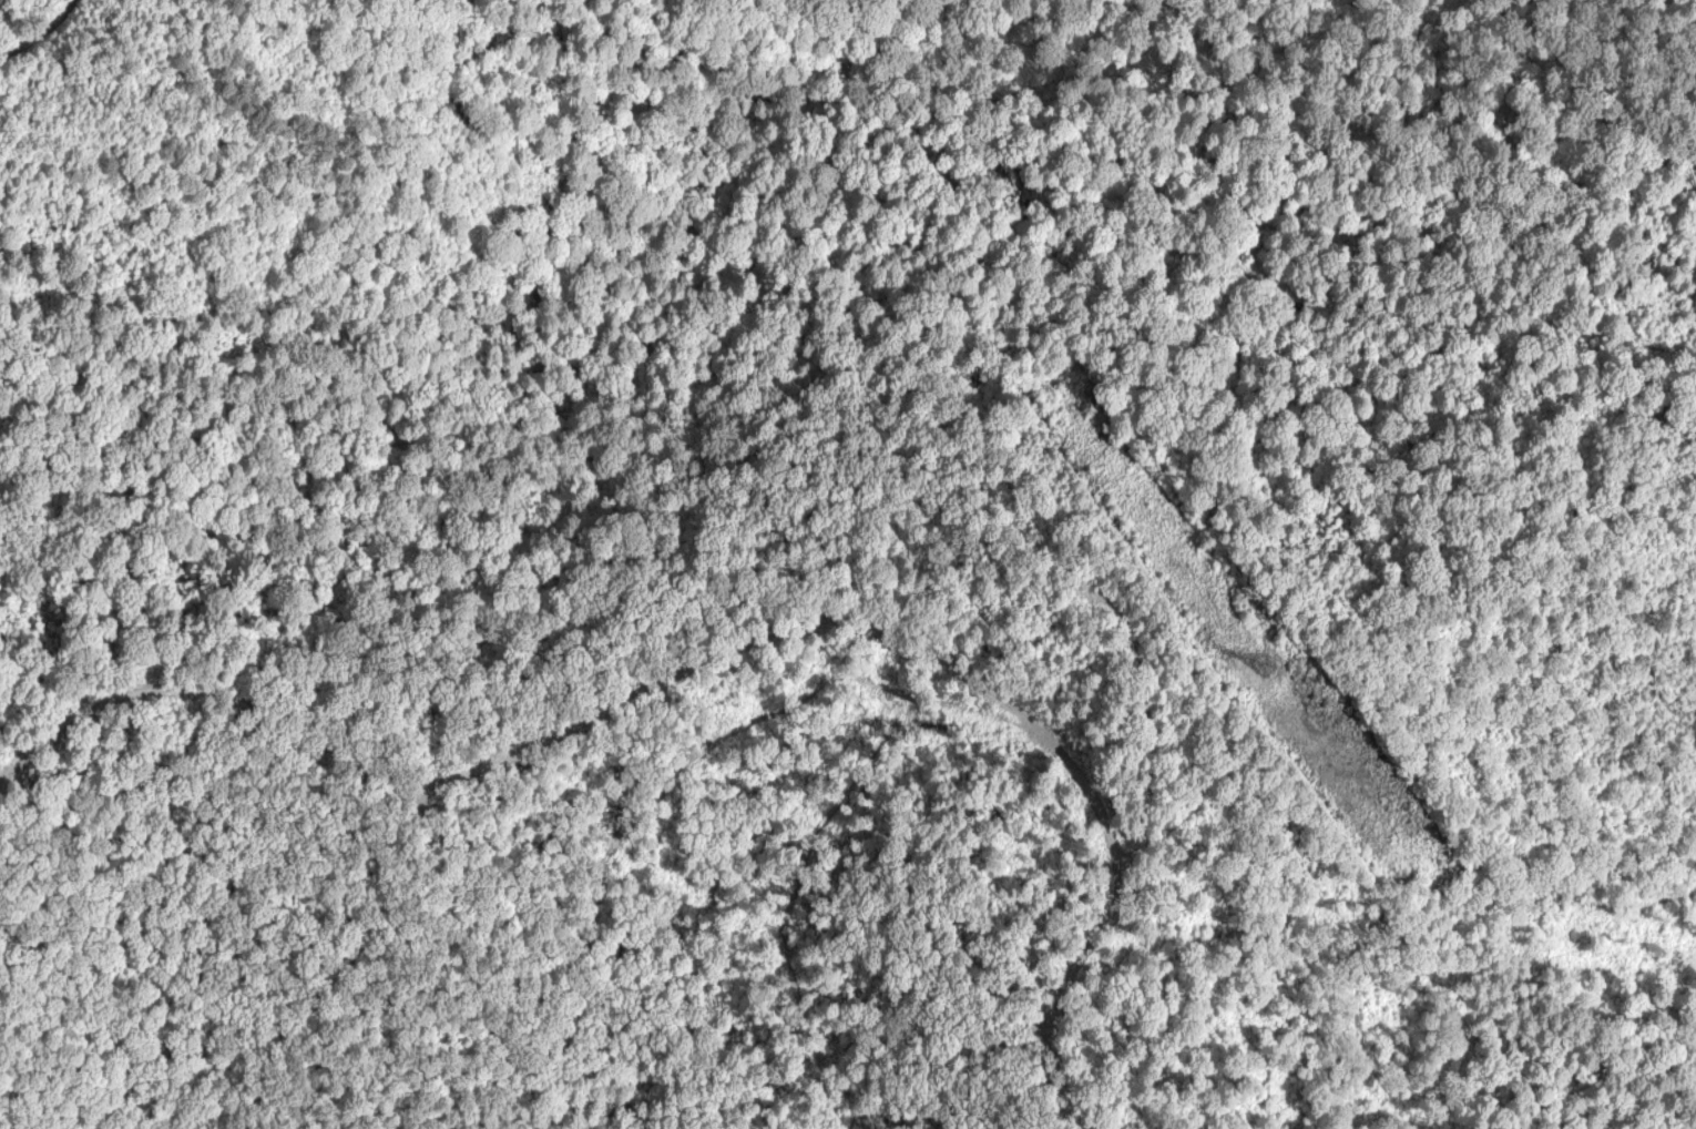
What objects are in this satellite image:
power tower: (1266, 662)
road: (684, 774)

